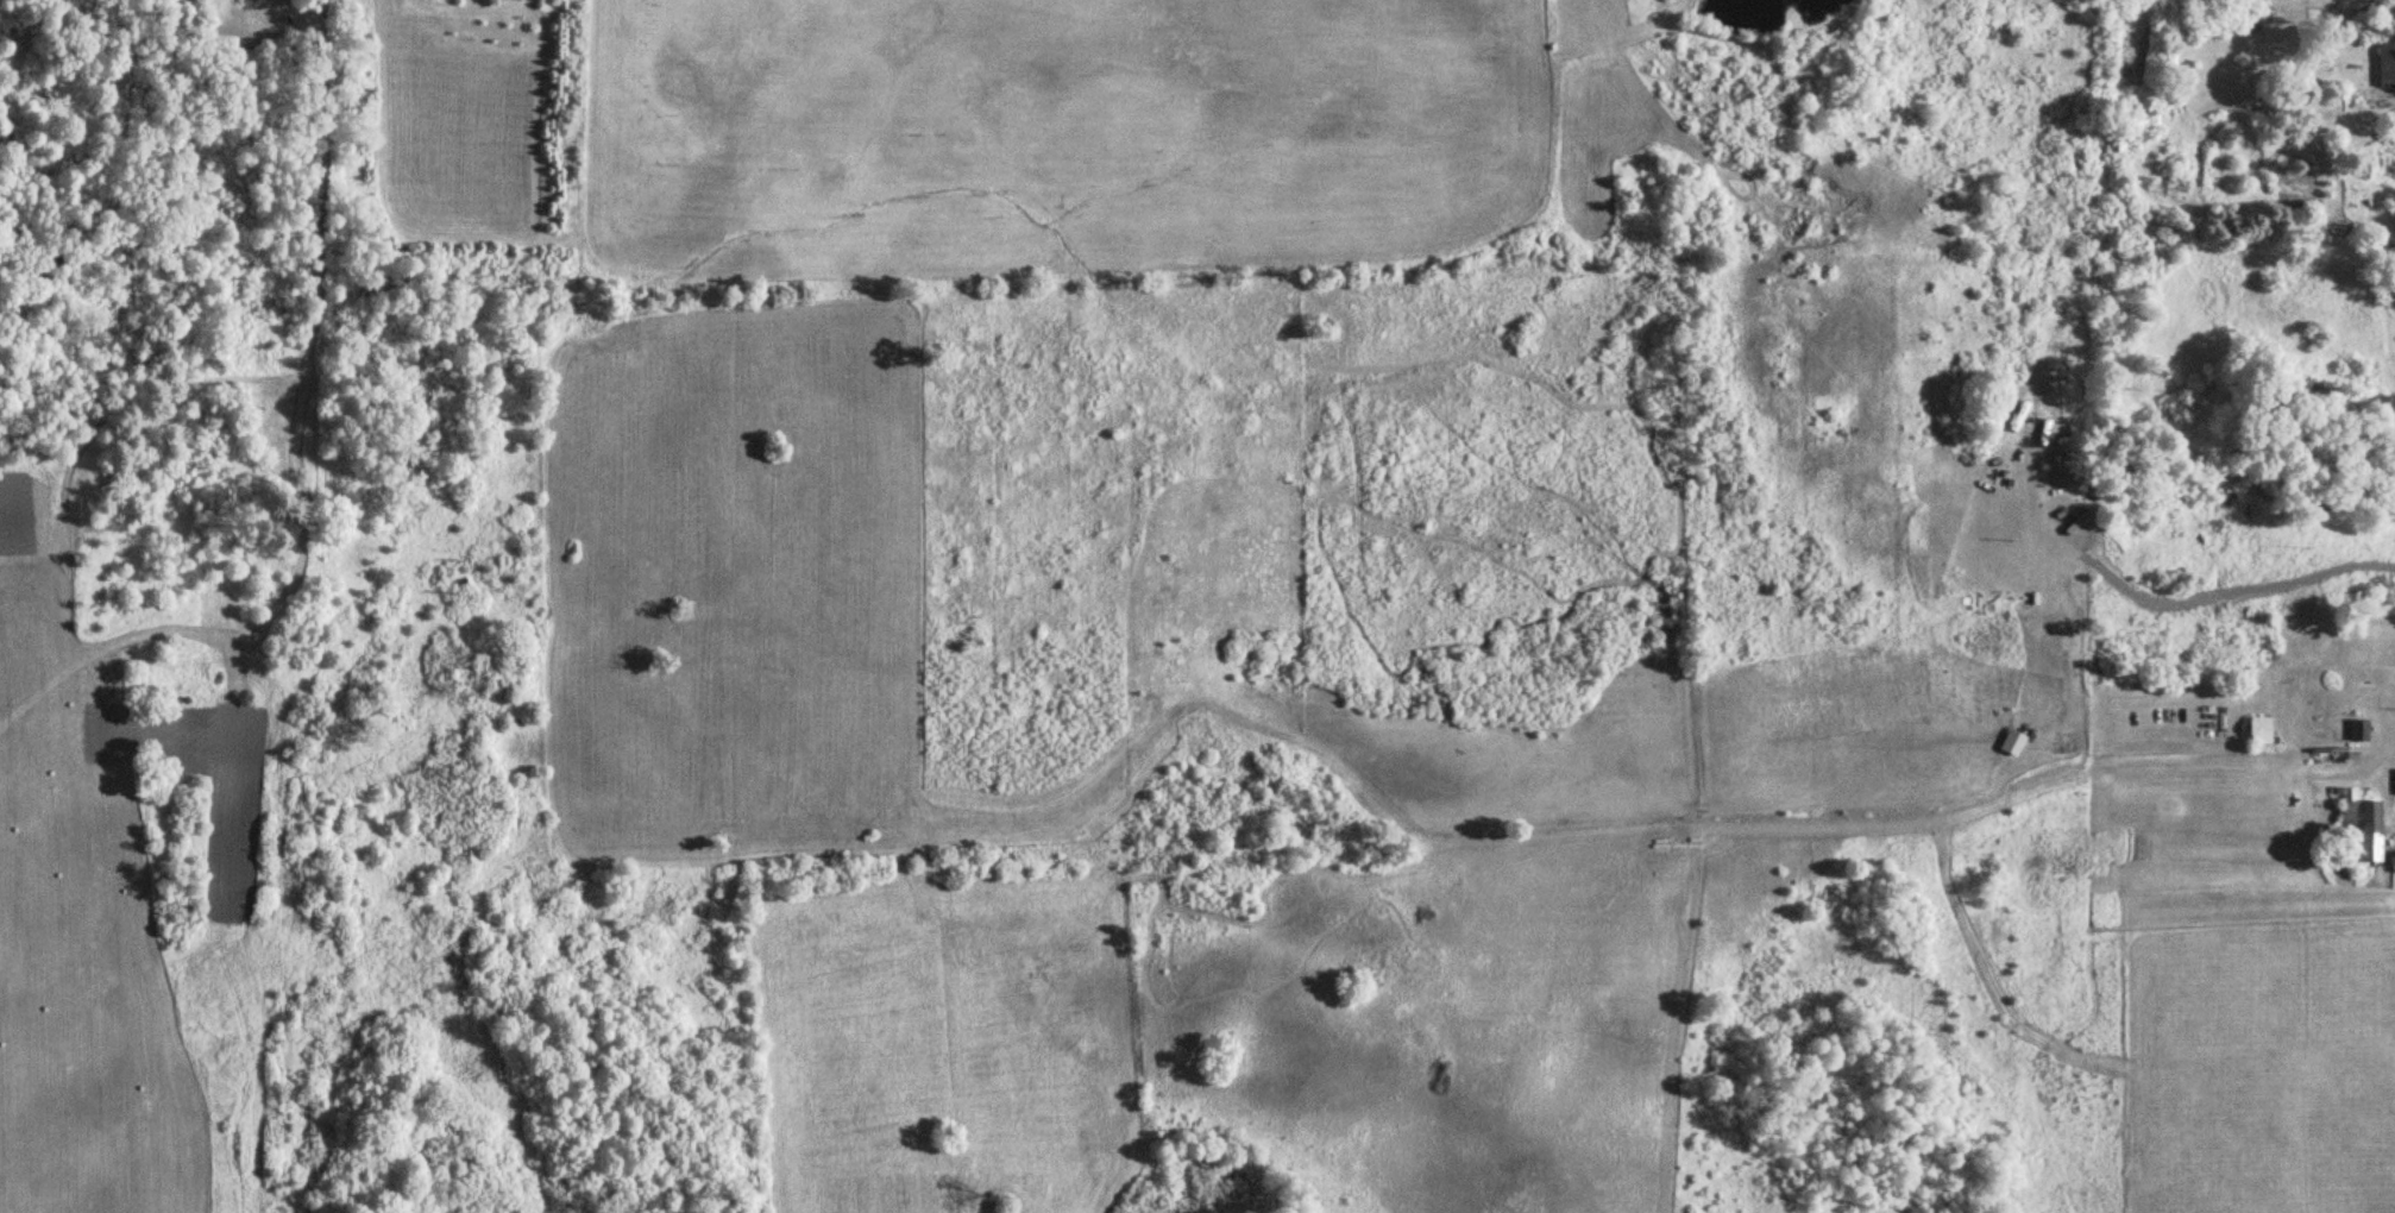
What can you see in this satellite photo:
building: (2385, 64)
building: (2358, 730)
building: (2258, 731)
building: (2361, 832)

